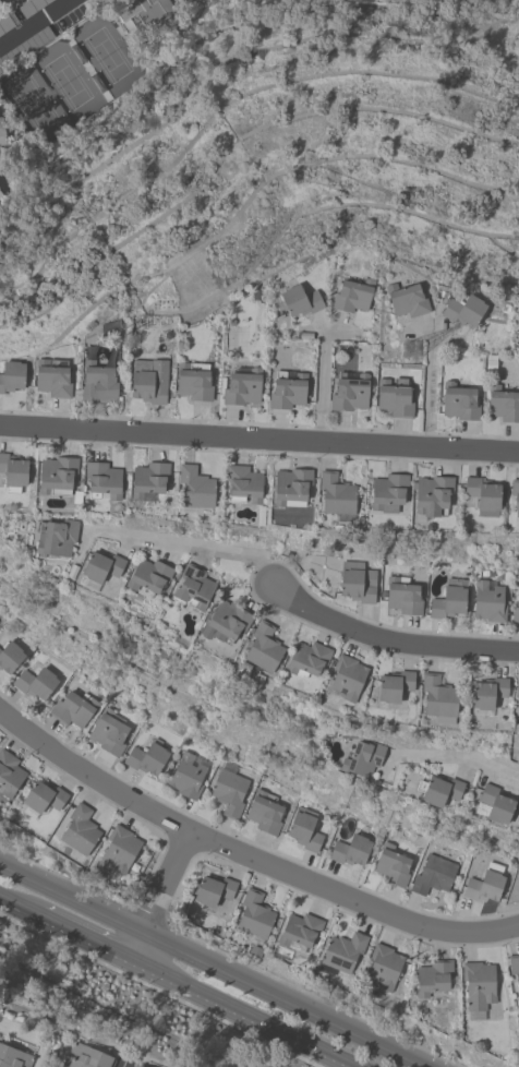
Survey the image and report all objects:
building: (10, 0)
building: (13, 0)
road: (8, 3)
building: (0, 4)
road: (19, 4)
road: (49, 4)
building: (32, 7)
road: (14, 11)
building: (147, 15)
road: (33, 23)
building: (5, 24)
road: (70, 41)
building: (25, 48)
park: (70, 79)
building: (34, 101)
building: (2, 133)
building: (1, 195)
building: (353, 296)
building: (407, 300)
building: (299, 301)
building: (463, 310)
power tower: (412, 349)
building: (490, 363)
building: (12, 376)
building: (52, 377)
building: (149, 381)
building: (194, 381)
building: (97, 382)
building: (242, 386)
road: (324, 386)
road: (433, 389)
building: (288, 391)
building: (350, 392)
building: (395, 397)
building: (459, 401)
building: (503, 404)
road: (259, 442)
building: (13, 472)
building: (57, 476)
building: (149, 480)
building: (102, 481)
building: (243, 483)
building: (291, 487)
building: (195, 488)
building: (388, 493)
building: (432, 495)
building: (483, 495)
building: (515, 495)
building: (337, 497)
building: (57, 537)
road: (193, 547)
building: (100, 570)
building: (148, 575)
building: (358, 583)
building: (193, 588)
building: (403, 596)
building: (449, 599)
building: (488, 601)
building: (516, 610)
building: (226, 622)
road: (391, 642)
building: (264, 649)
building: (10, 657)
building: (307, 659)
building: (346, 679)
building: (36, 682)
building: (395, 686)
building: (517, 688)
building: (487, 695)
building: (438, 699)
building: (74, 709)
building: (518, 709)
building: (109, 732)
building: (147, 758)
road: (462, 758)
building: (363, 759)
building: (9, 774)
building: (189, 776)
building: (229, 790)
building: (439, 790)
building: (43, 799)
building: (494, 804)
building: (265, 813)
building: (80, 830)
building: (304, 830)
building: (350, 850)
building: (118, 852)
road: (248, 853)
building: (394, 864)
building: (434, 875)
road: (176, 884)
building: (484, 886)
building: (213, 892)
road: (73, 897)
road: (17, 910)
building: (254, 916)
building: (300, 932)
road: (83, 942)
road: (138, 948)
building: (255, 950)
building: (341, 954)
building: (384, 966)
building: (515, 967)
building: (433, 976)
building: (479, 988)
road: (288, 998)
road: (236, 1015)
building: (13, 1057)
building: (86, 1057)
road: (125, 1065)
building: (132, 1066)
building: (136, 1066)

